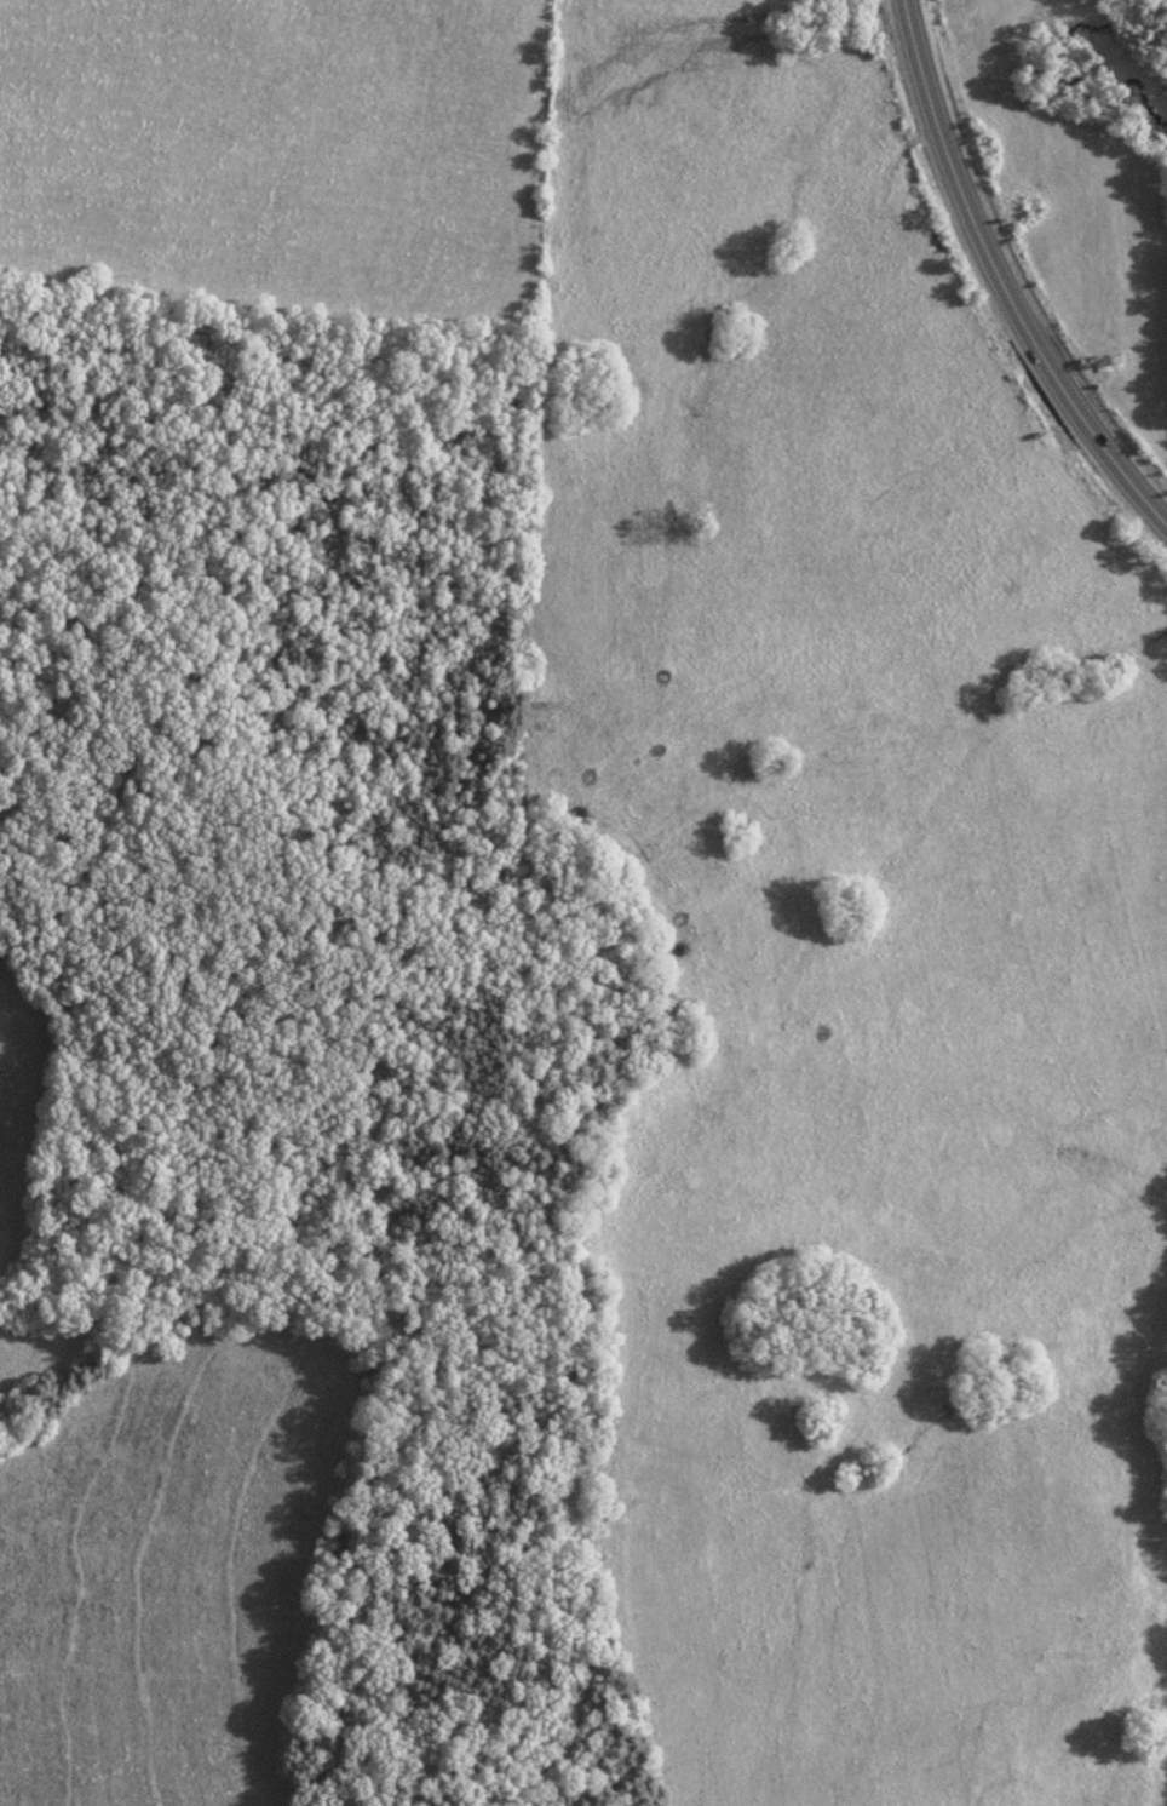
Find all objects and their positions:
road: (988, 282)

